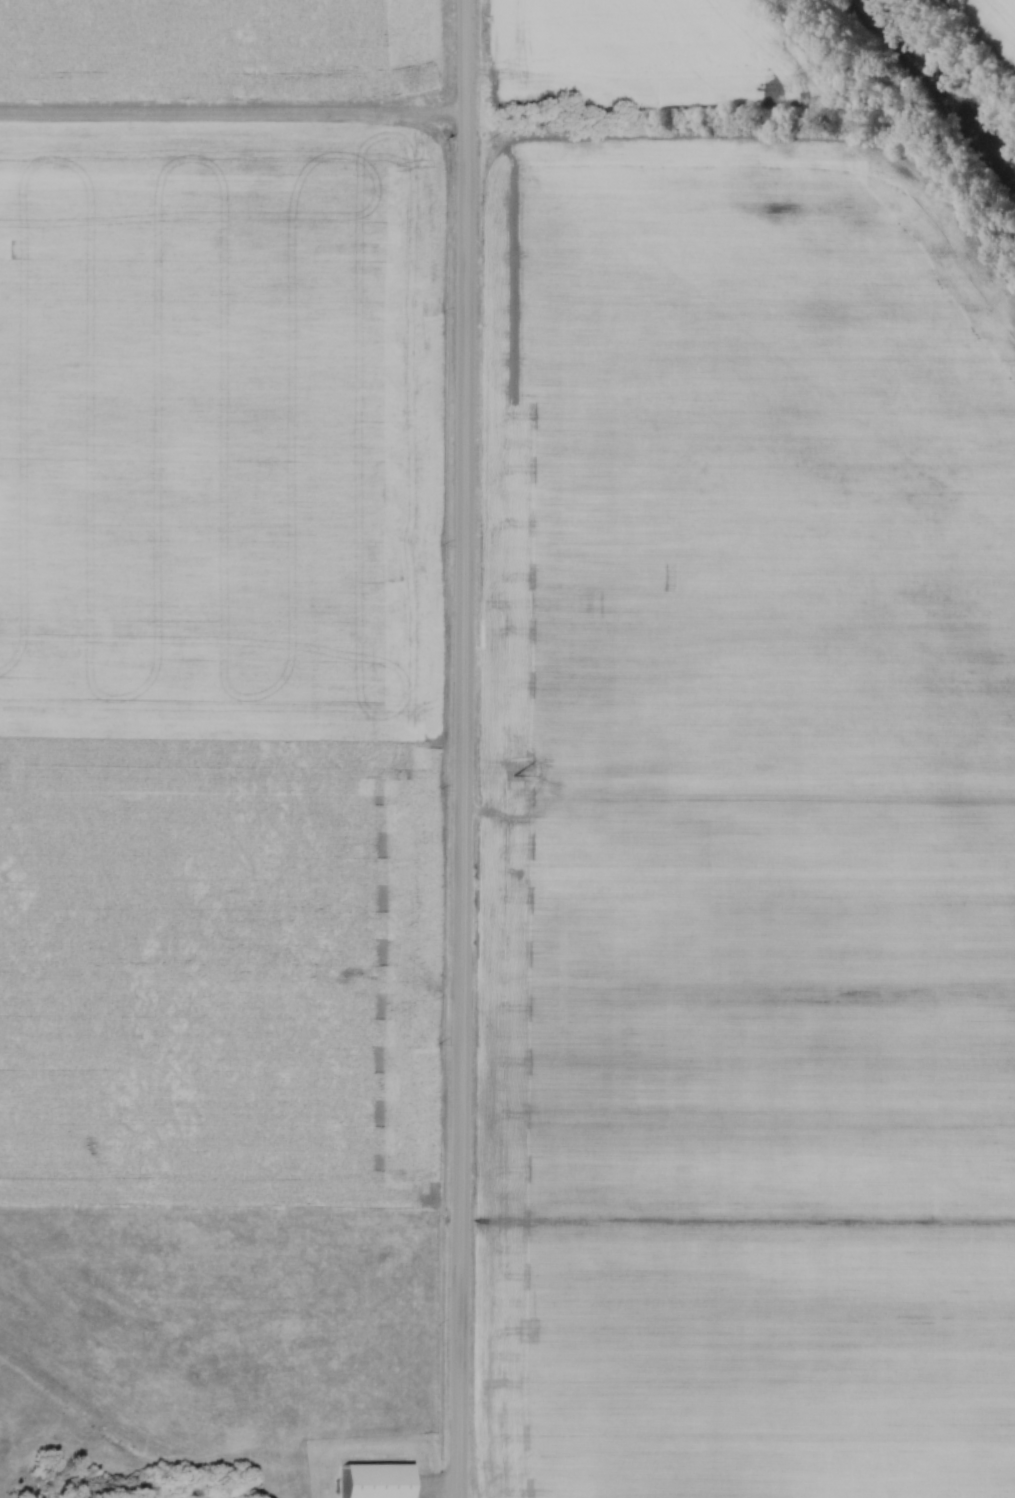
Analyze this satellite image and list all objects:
crop: (216, 47)
crop: (654, 55)
river: (938, 83)
road: (467, 749)
building: (380, 1485)

